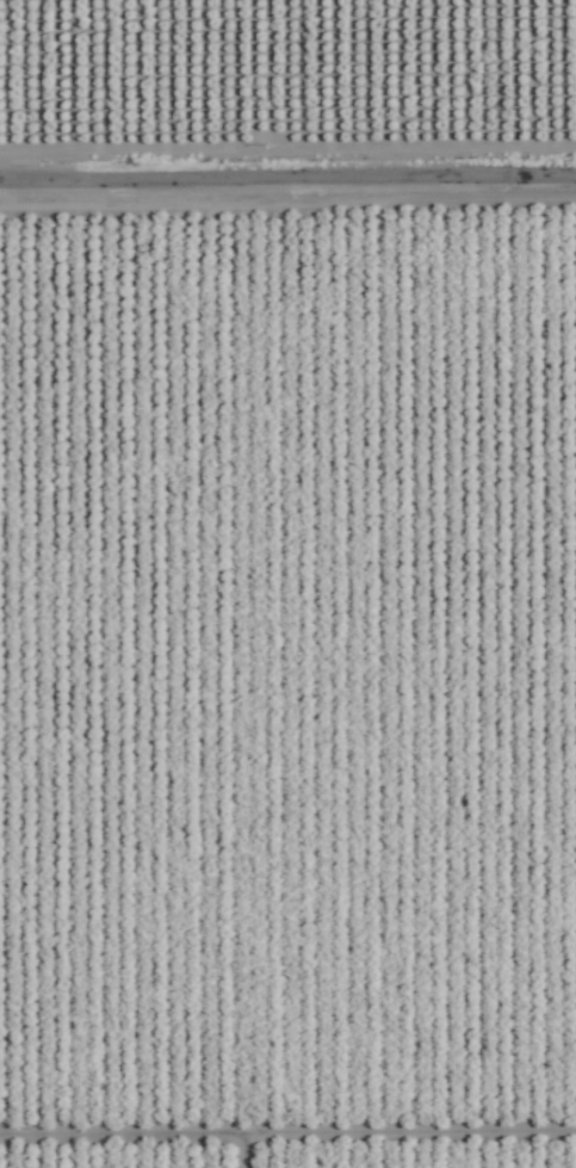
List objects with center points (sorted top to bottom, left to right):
road: (287, 179)
crop: (287, 583)

